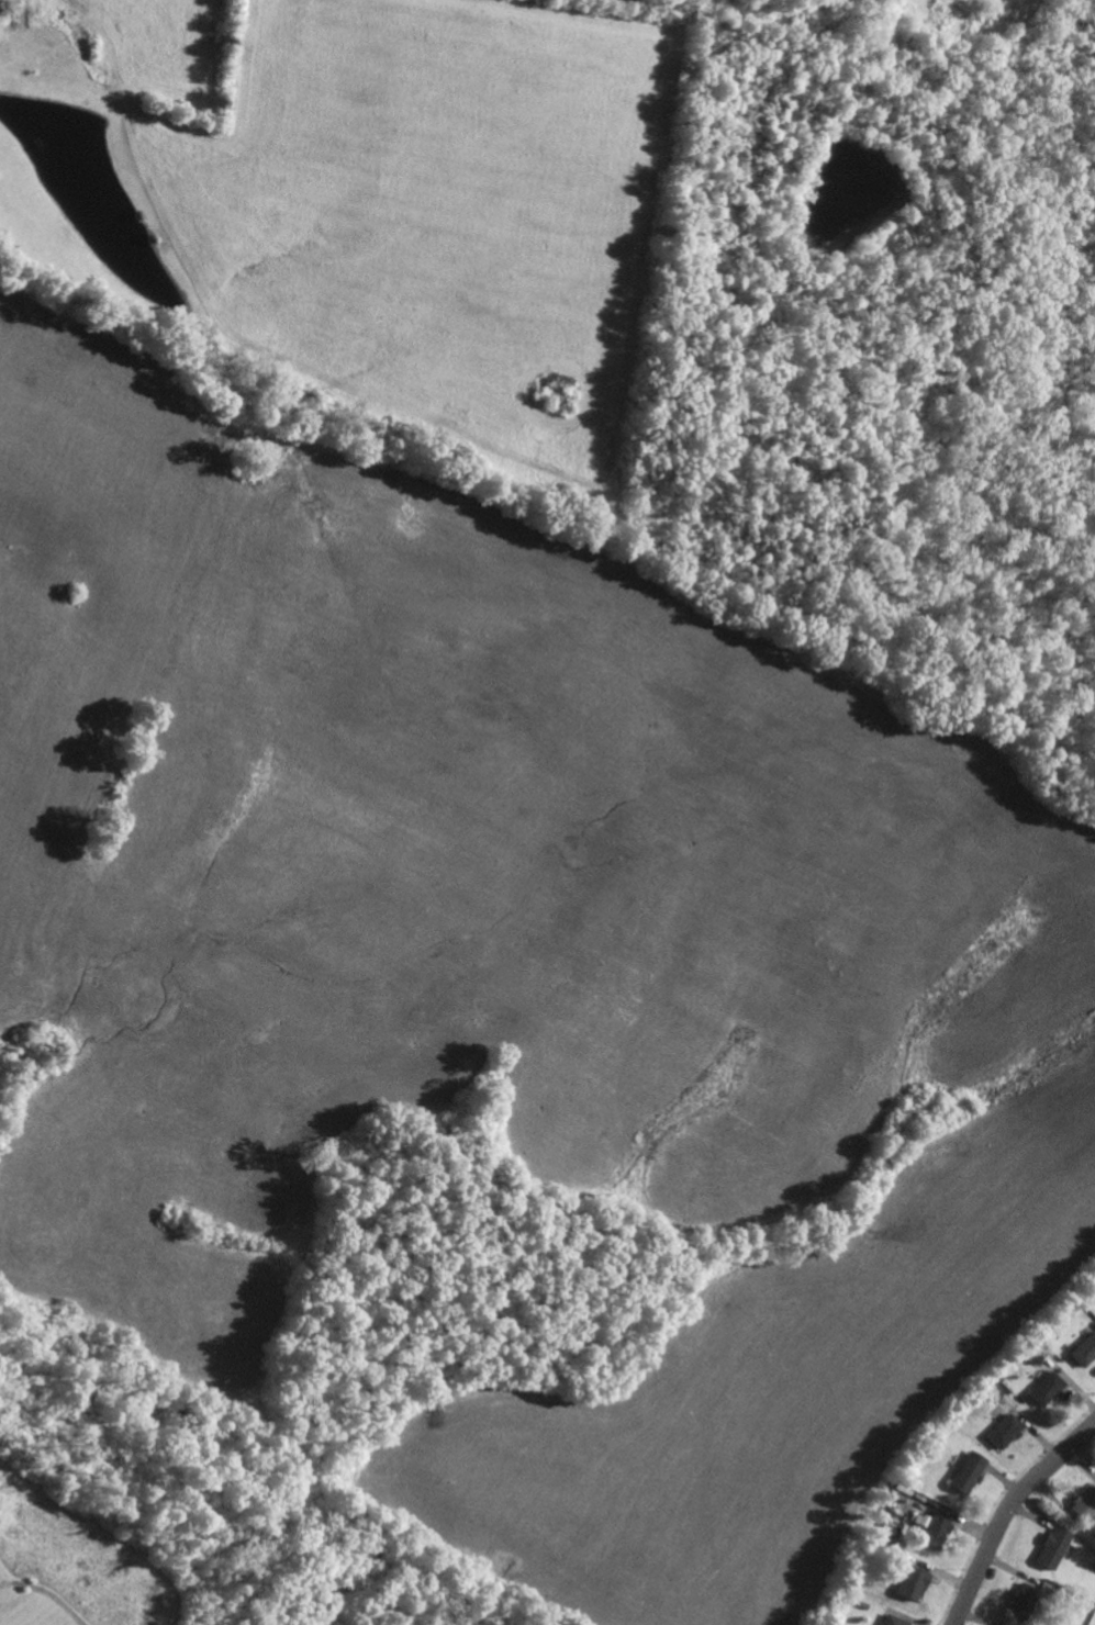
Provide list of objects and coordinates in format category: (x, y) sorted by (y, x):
building: (1087, 1352)
building: (1052, 1388)
building: (1008, 1430)
building: (973, 1471)
building: (1086, 1504)
road: (1017, 1522)
building: (938, 1526)
building: (1058, 1546)
building: (919, 1581)
building: (1028, 1600)
building: (898, 1621)

